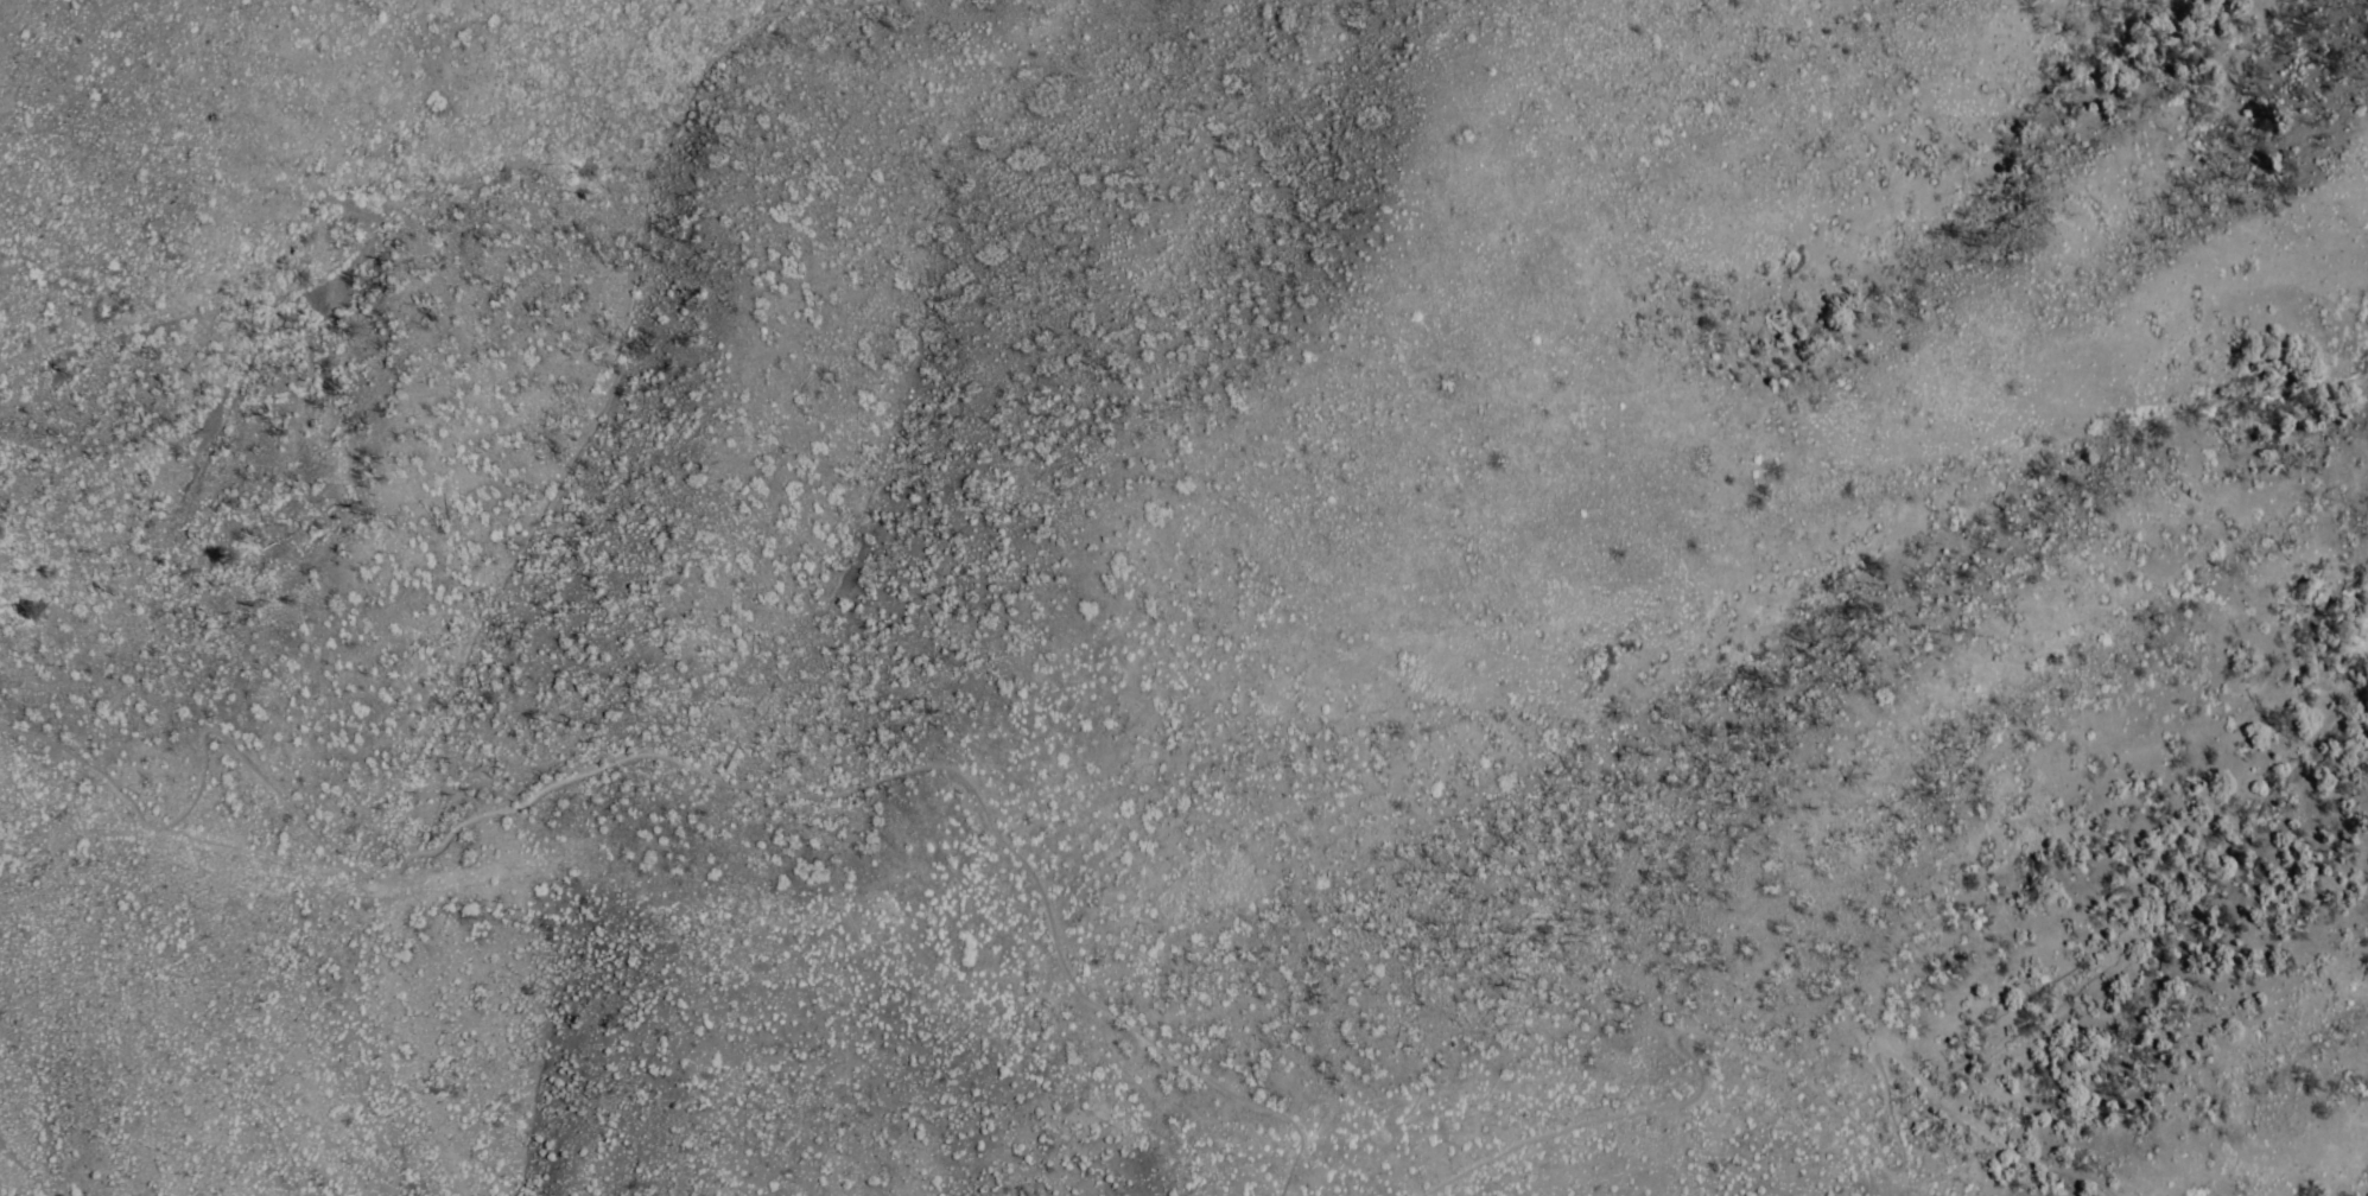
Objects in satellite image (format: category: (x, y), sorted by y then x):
road: (683, 763)
road: (1798, 1068)

